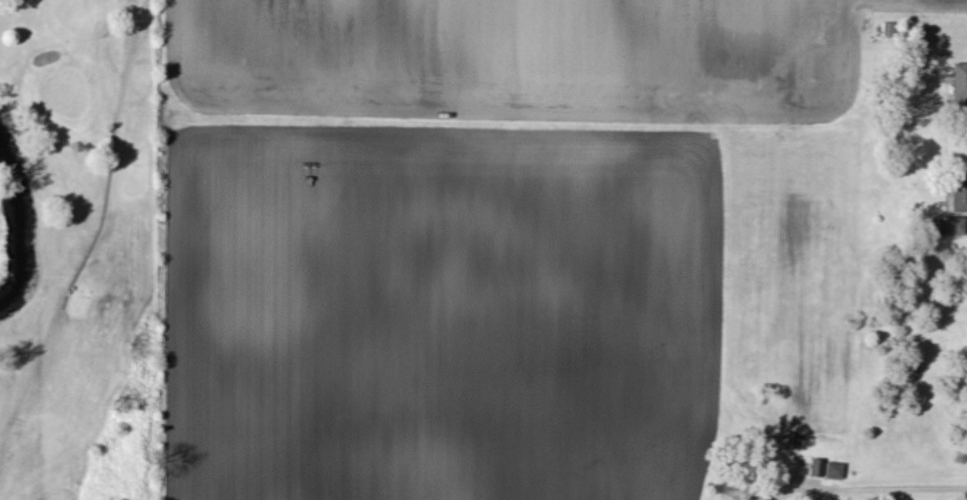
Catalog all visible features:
building: (959, 87)
building: (958, 195)
building: (819, 470)
building: (833, 472)
road: (881, 487)

